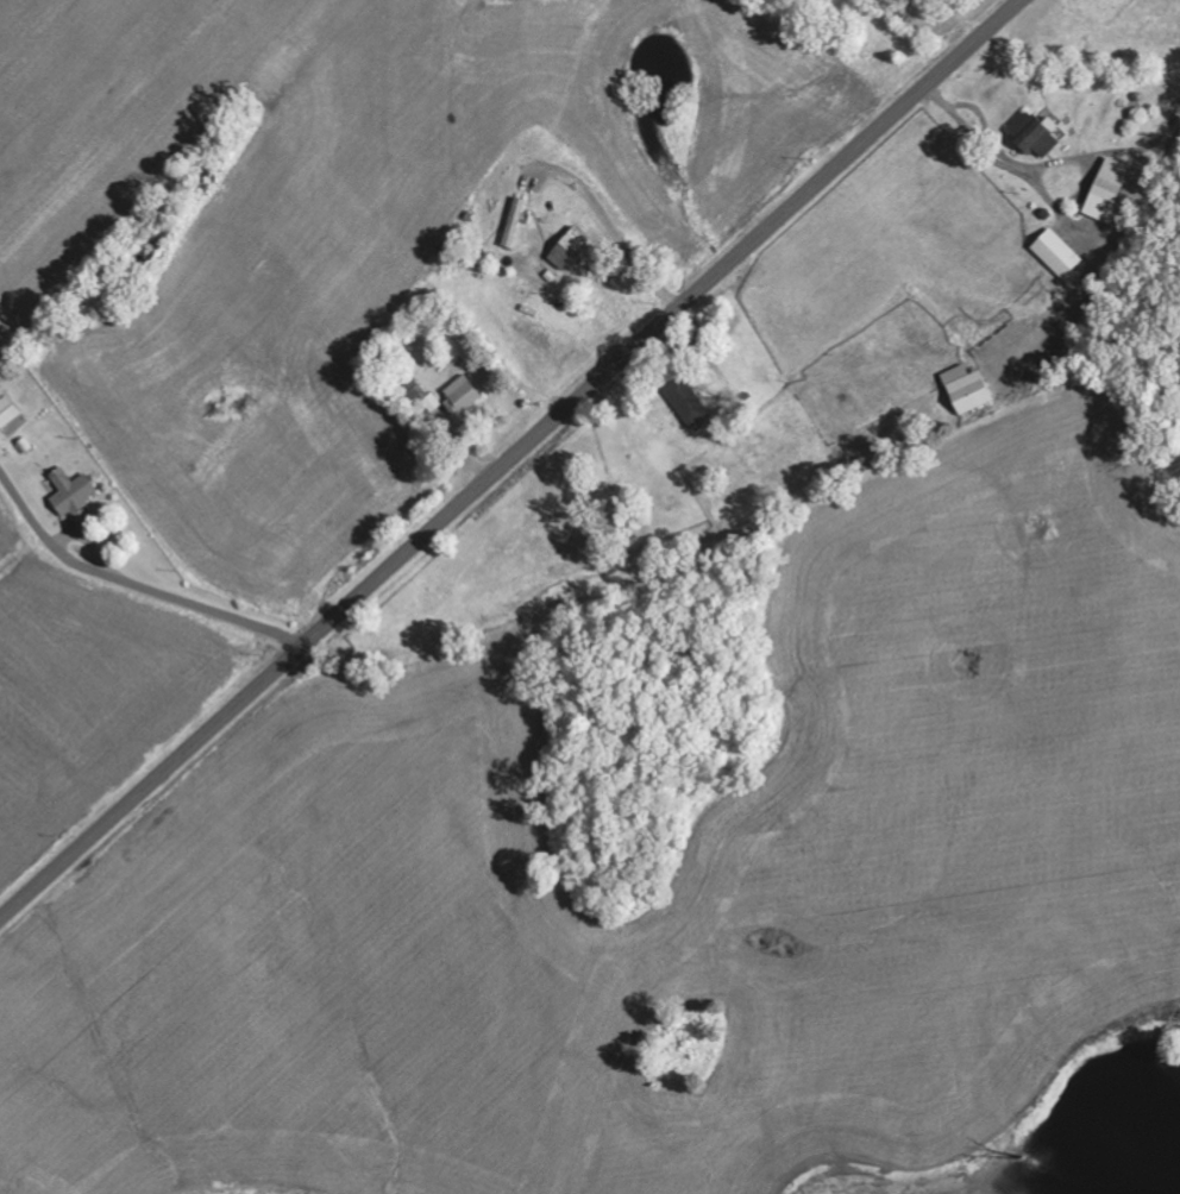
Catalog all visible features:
building: (1042, 139)
building: (1109, 191)
building: (516, 224)
building: (571, 249)
building: (1059, 254)
building: (969, 390)
building: (466, 395)
building: (427, 402)
building: (689, 402)
building: (8, 413)
road: (510, 460)
building: (74, 494)
road: (133, 584)

